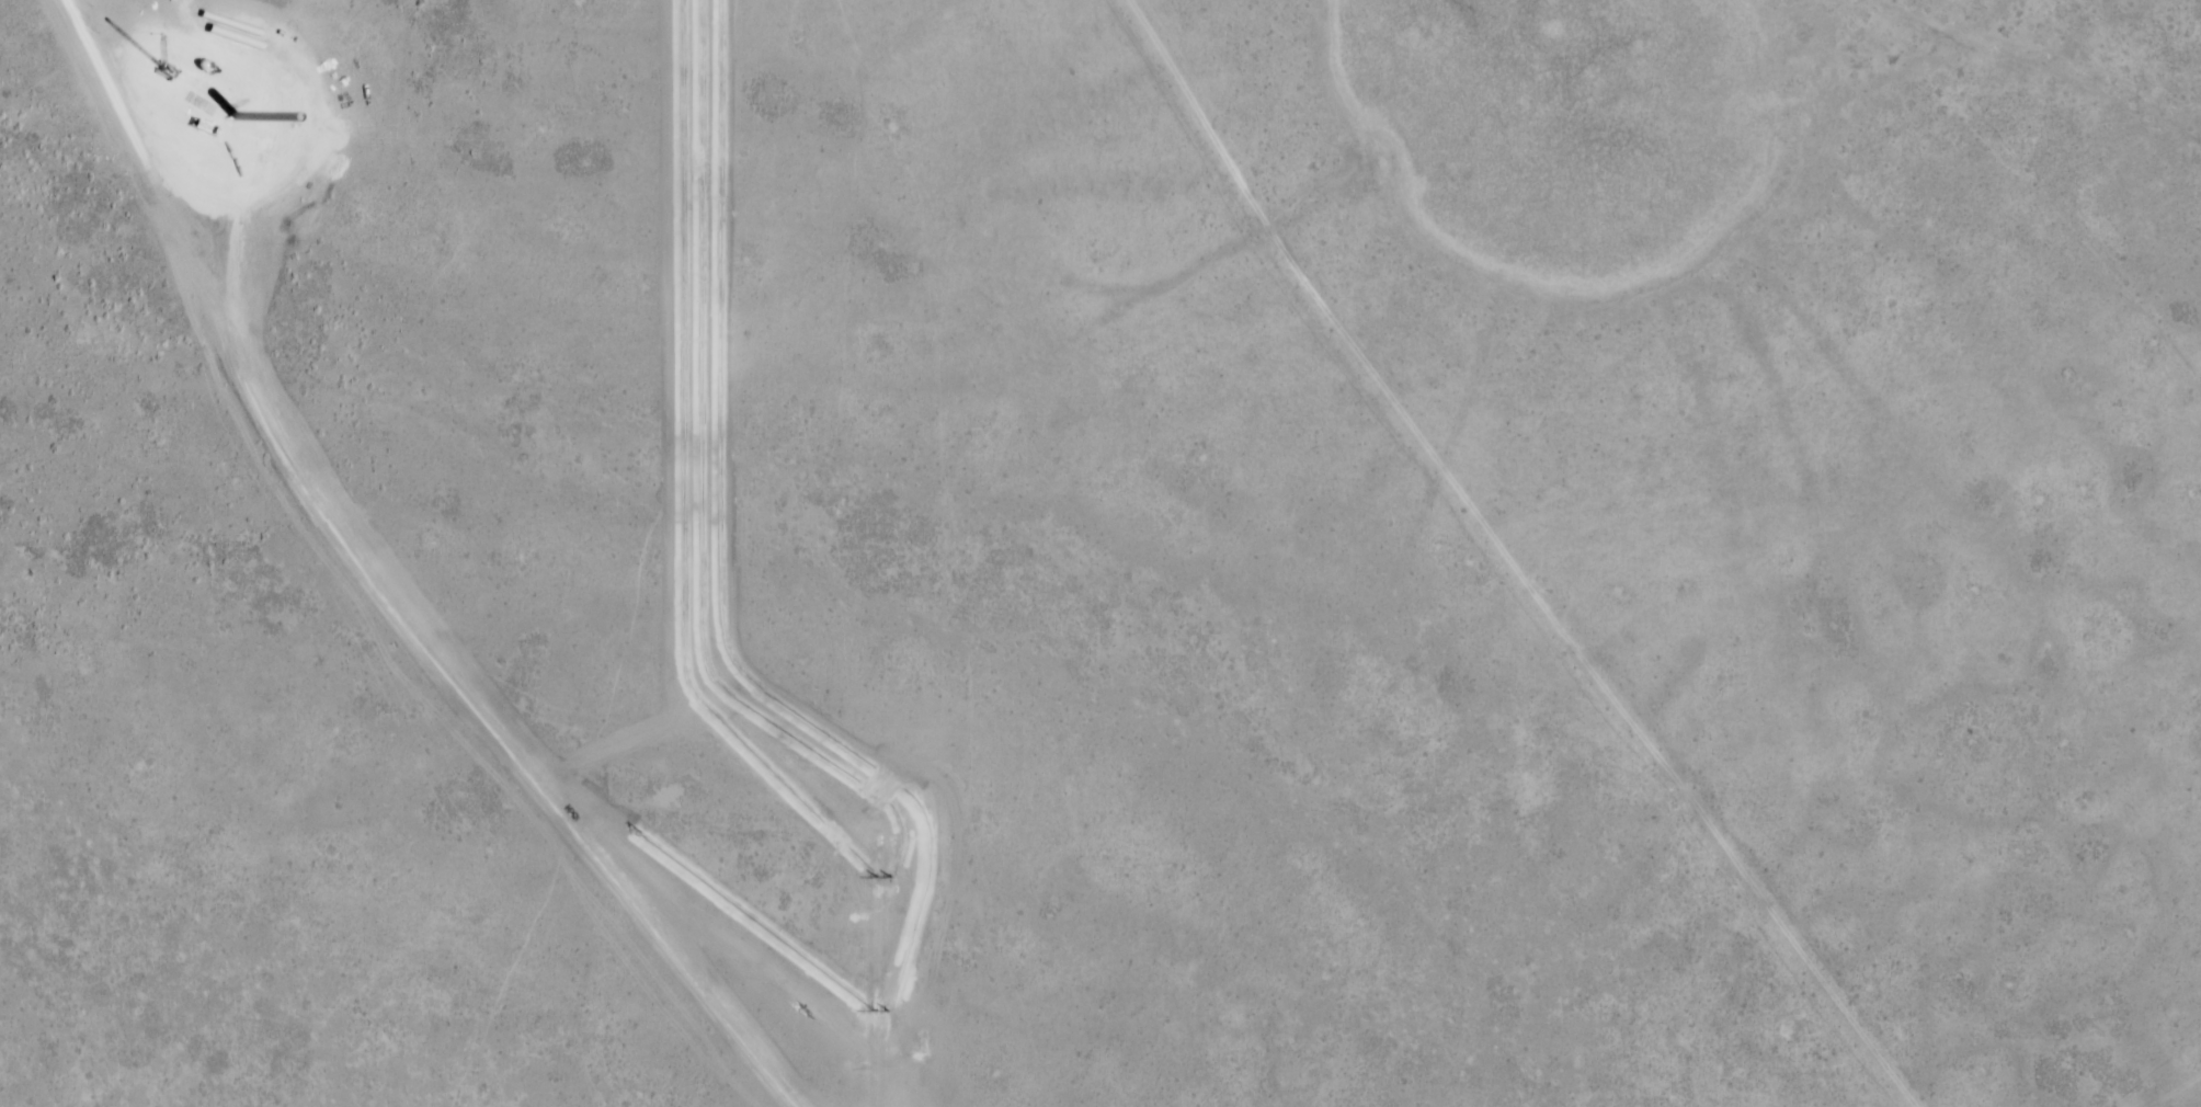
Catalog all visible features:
wind turbine: (219, 110)

